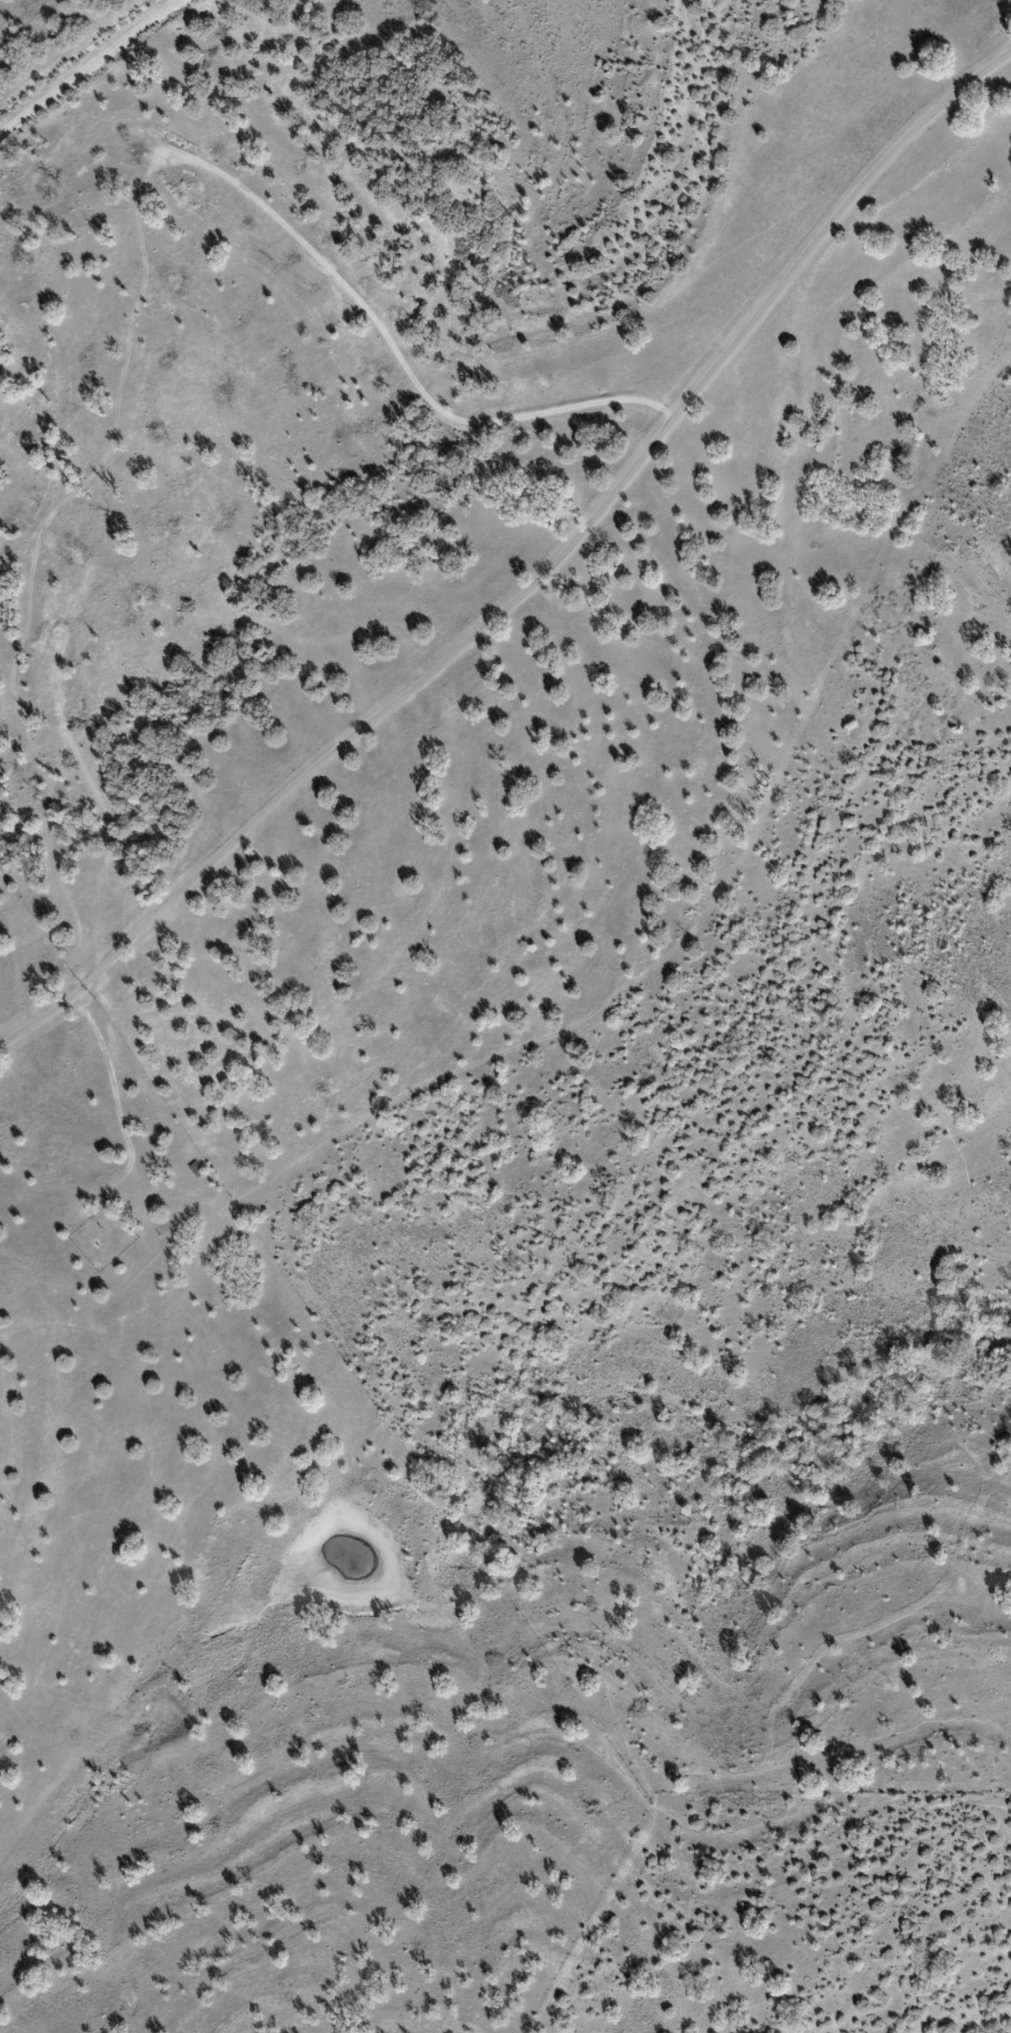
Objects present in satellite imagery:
road: (90, 68)
road: (540, 585)

